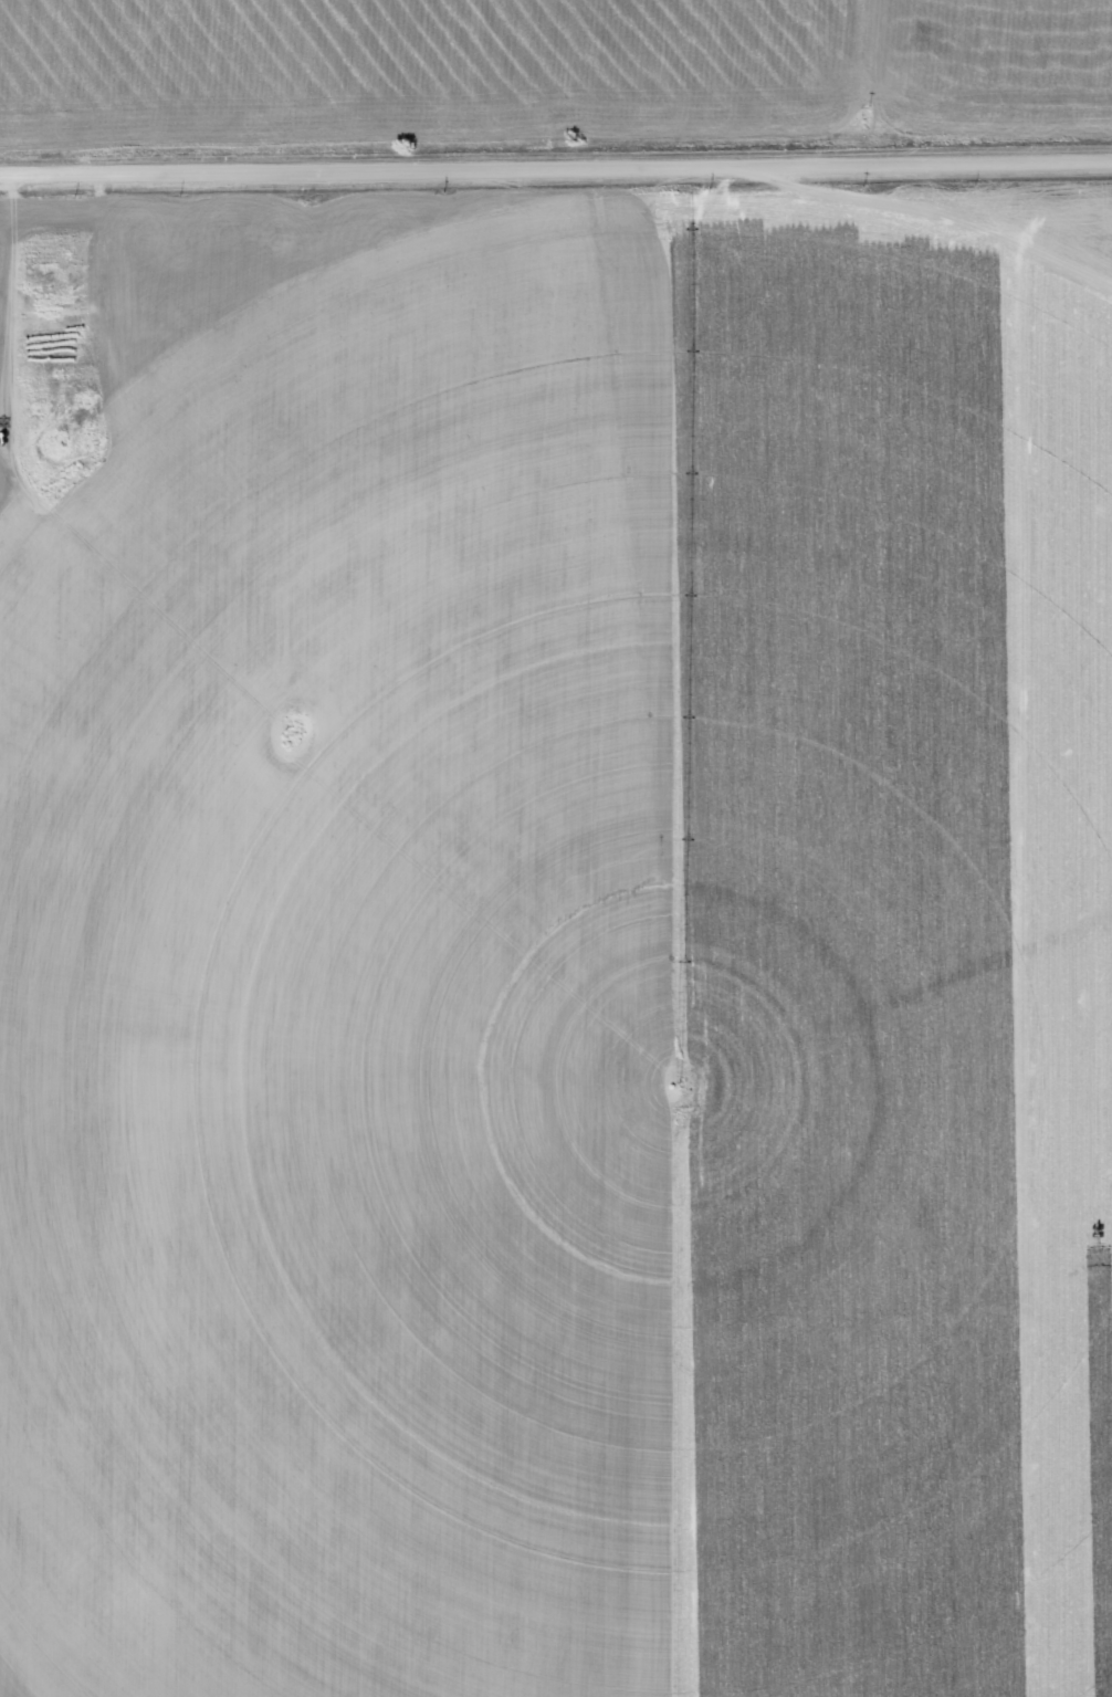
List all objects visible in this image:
road: (556, 170)

